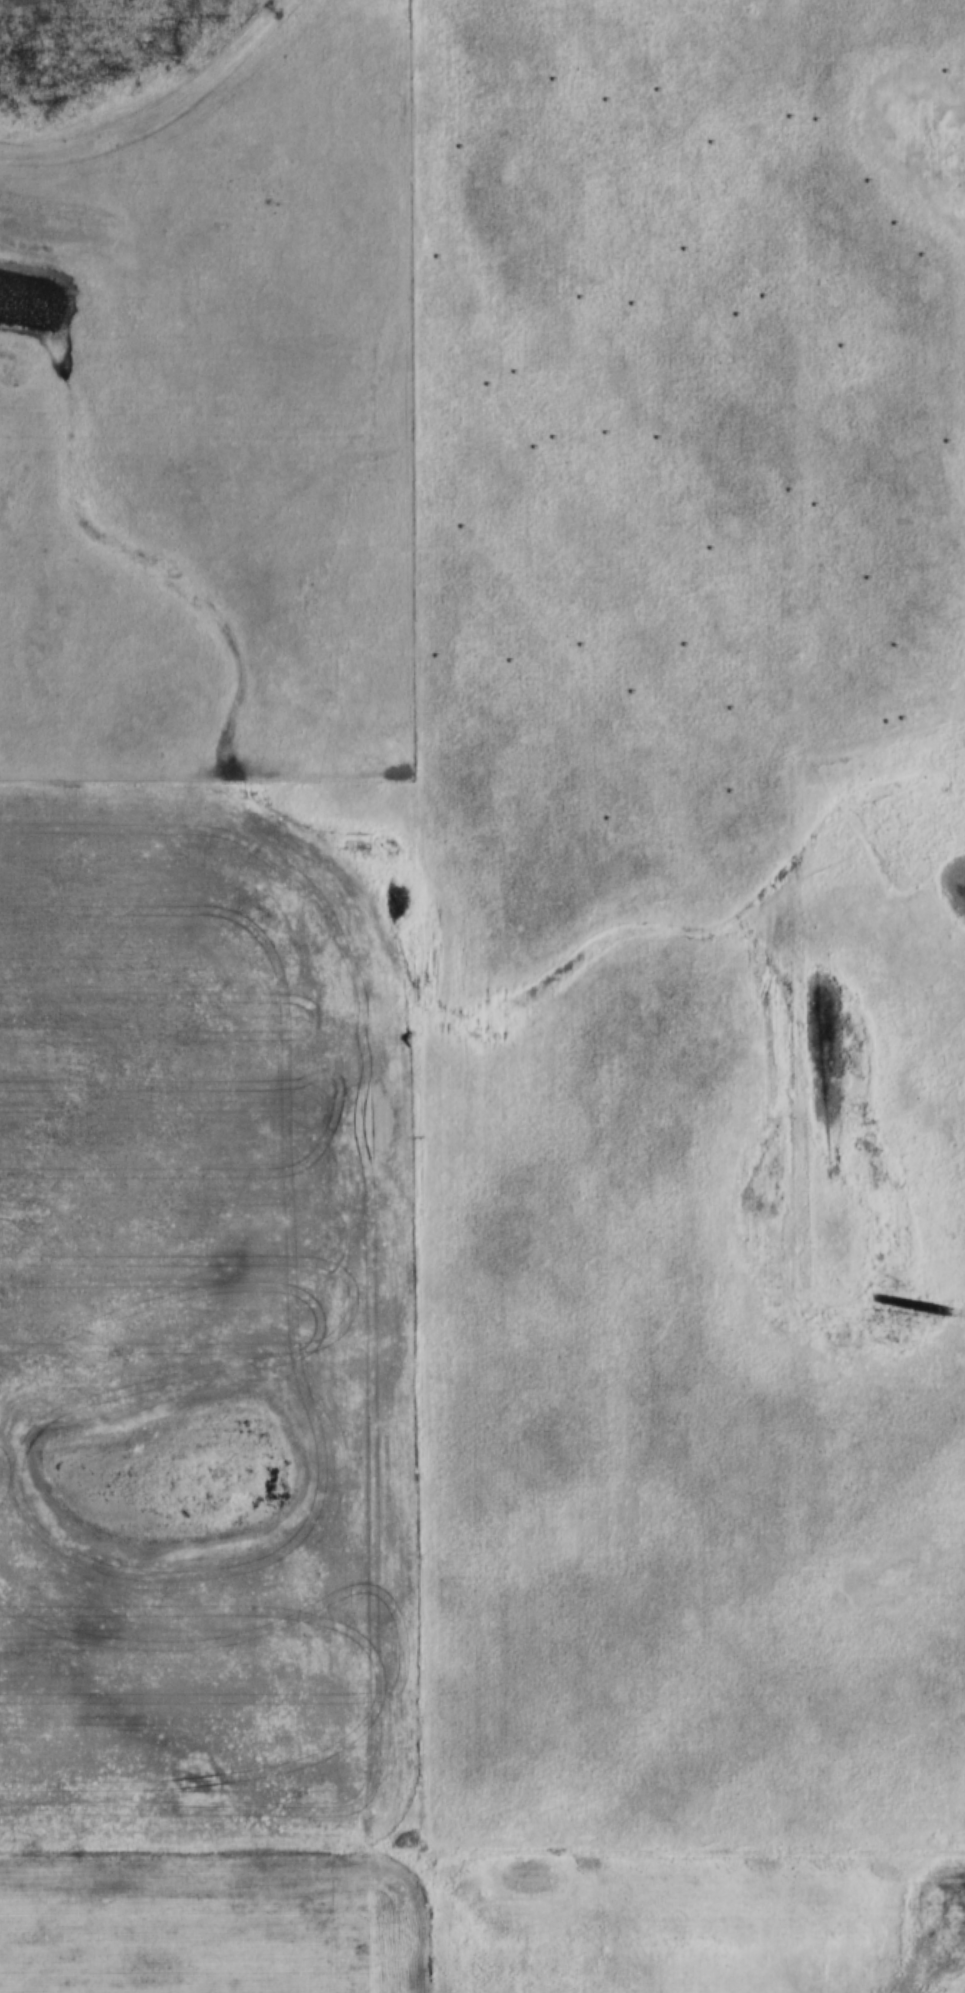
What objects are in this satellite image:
road: (187, 131)
building: (682, 297)
building: (935, 340)
building: (633, 813)

